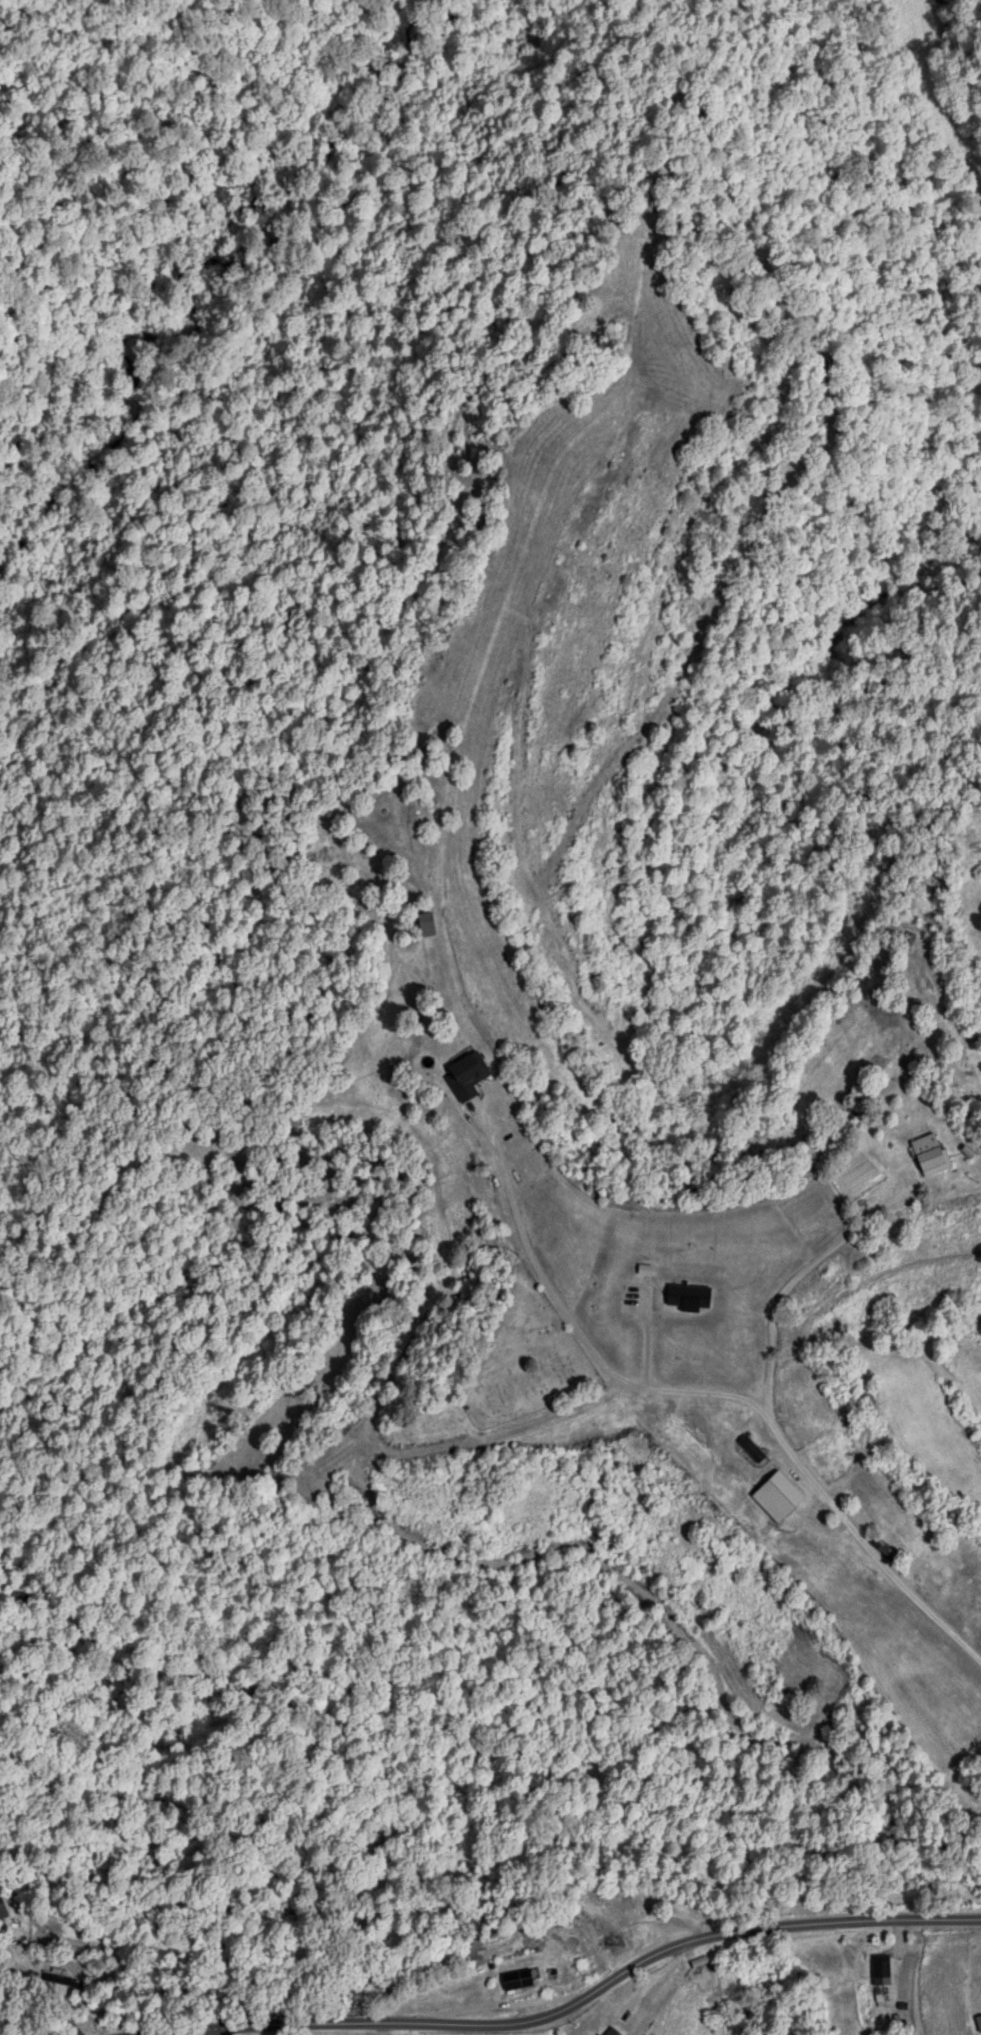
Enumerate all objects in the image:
building: (465, 1074)
building: (929, 1154)
road: (774, 1277)
road: (553, 1310)
building: (751, 1448)
building: (831, 1468)
building: (777, 1496)
building: (612, 1931)
building: (562, 1941)
building: (882, 1971)
building: (516, 1978)
road: (577, 2001)
building: (978, 2021)
building: (88, 2024)
building: (610, 2031)
road: (217, 2033)

